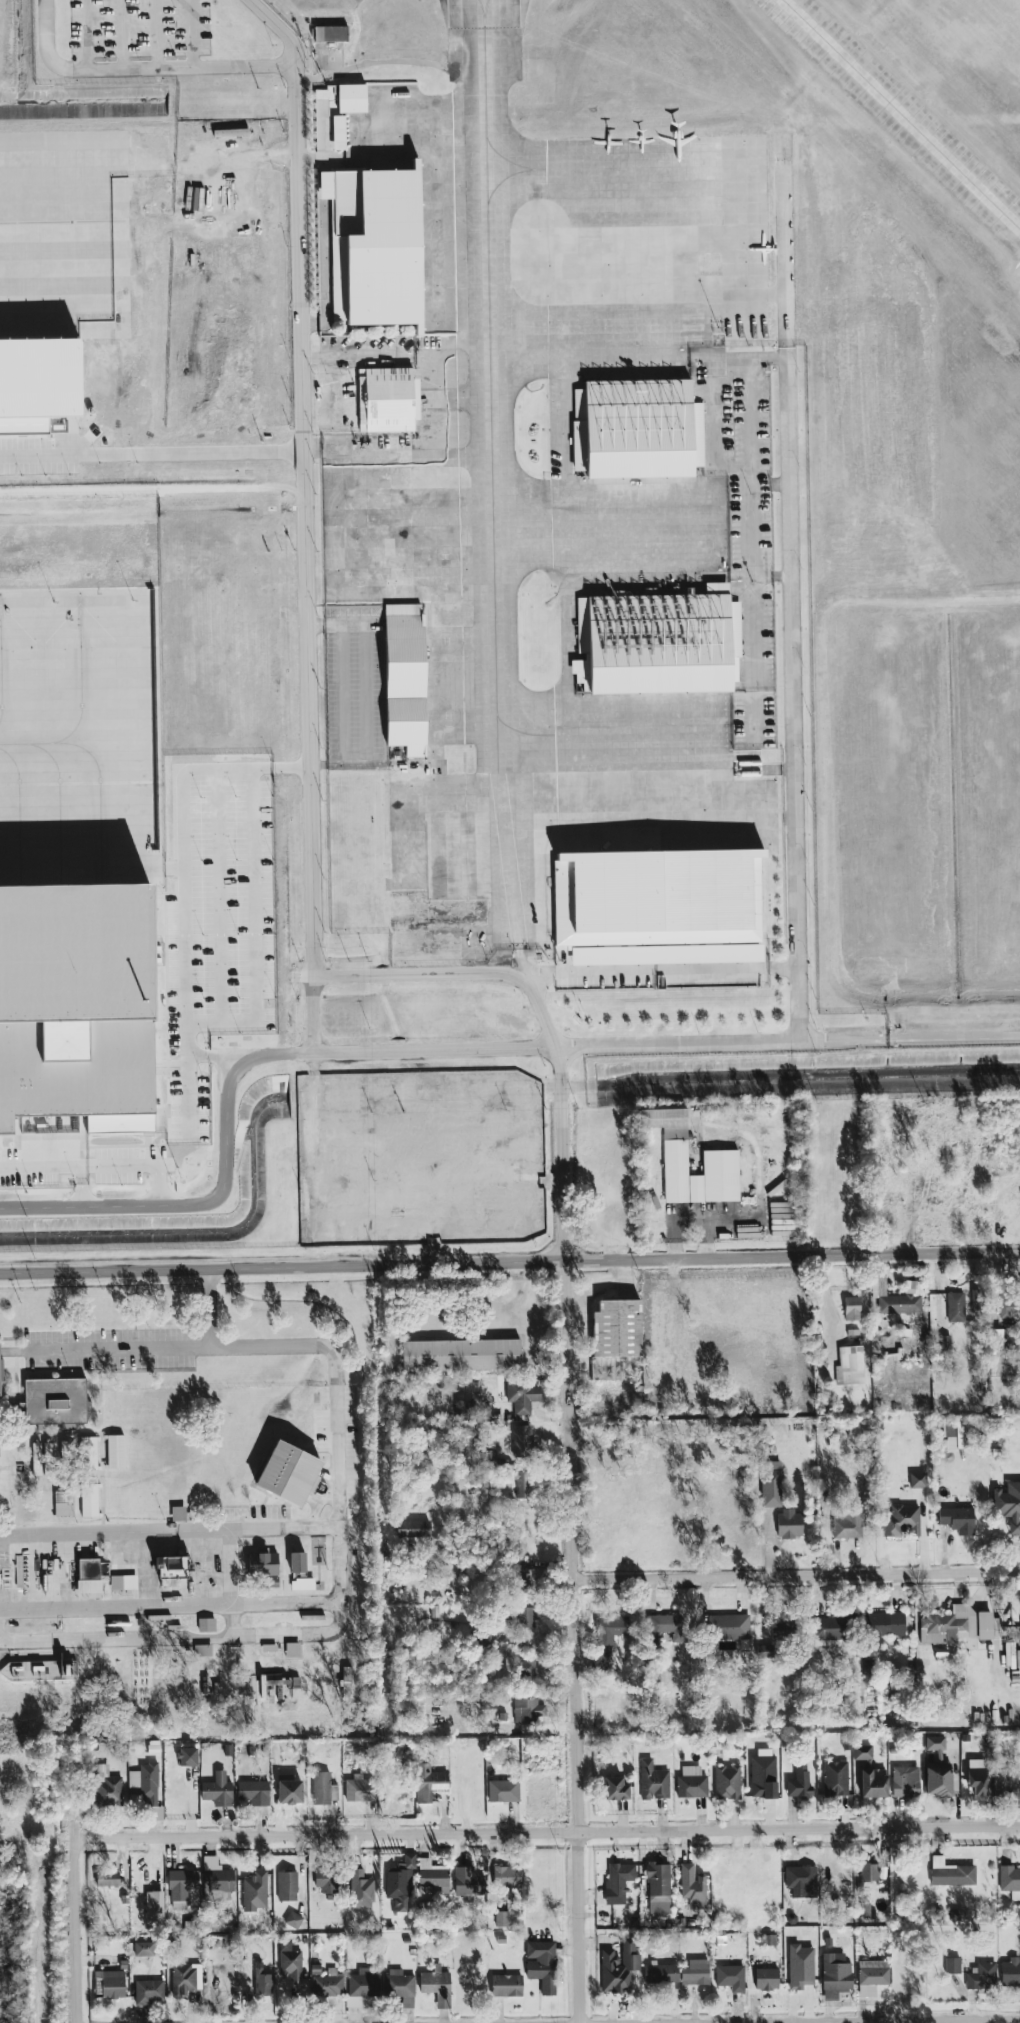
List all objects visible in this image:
airport apron: (326, 5)
airport taxiway: (482, 8)
parking lot: (139, 29)
road: (83, 34)
building: (328, 35)
road: (45, 48)
road: (405, 59)
road: (190, 67)
road: (309, 82)
building: (349, 101)
airport taxiway: (901, 115)
building: (229, 132)
building: (338, 135)
road: (149, 162)
airport taxiway: (518, 172)
airport apron: (638, 181)
airport apron: (40, 235)
road: (785, 243)
building: (375, 245)
airport apron: (638, 342)
airport taxiway: (519, 345)
road: (358, 355)
airport hangar: (37, 382)
building: (37, 382)
building: (386, 402)
building: (641, 431)
road: (287, 445)
road: (134, 455)
road: (288, 456)
parking lot: (7, 468)
road: (753, 468)
airport apron: (417, 474)
airport taxiway: (495, 478)
road: (309, 479)
airport apron: (640, 527)
airport taxiway: (523, 532)
airport: (491, 564)
building: (659, 645)
road: (754, 651)
building: (406, 681)
road: (792, 693)
airport apron: (76, 728)
airport taxiway: (527, 738)
road: (413, 766)
road: (352, 768)
airport apron: (656, 829)
road: (180, 867)
building: (655, 891)
road: (648, 968)
parking lot: (710, 972)
road: (405, 974)
road: (536, 999)
building: (77, 1004)
road: (312, 1013)
road: (953, 1037)
road: (383, 1049)
building: (341, 1092)
road: (316, 1121)
road: (562, 1152)
building: (720, 1162)
road: (56, 1167)
road: (509, 1261)
building: (879, 1285)
building: (902, 1301)
building: (1006, 1304)
building: (955, 1307)
building: (852, 1308)
road: (218, 1310)
building: (616, 1329)
building: (1003, 1341)
building: (461, 1355)
building: (849, 1365)
building: (521, 1397)
building: (55, 1401)
building: (464, 1409)
building: (958, 1435)
road: (341, 1442)
building: (522, 1442)
building: (65, 1450)
building: (115, 1451)
building: (88, 1453)
building: (48, 1456)
building: (488, 1457)
building: (36, 1459)
building: (289, 1473)
building: (917, 1480)
building: (521, 1483)
building: (771, 1484)
building: (89, 1500)
building: (64, 1502)
building: (1009, 1505)
building: (178, 1514)
building: (902, 1520)
building: (957, 1520)
building: (789, 1524)
building: (847, 1524)
building: (413, 1529)
building: (297, 1562)
building: (172, 1566)
road: (231, 1566)
building: (264, 1567)
building: (88, 1569)
building: (103, 1570)
road: (797, 1574)
building: (522, 1578)
building: (123, 1582)
building: (302, 1584)
road: (322, 1601)
road: (116, 1606)
building: (526, 1617)
building: (206, 1625)
building: (665, 1625)
building: (956, 1625)
building: (884, 1626)
building: (728, 1627)
building: (828, 1628)
building: (782, 1632)
road: (132, 1637)
road: (576, 1641)
building: (203, 1650)
building: (292, 1650)
building: (523, 1667)
building: (39, 1671)
building: (868, 1672)
building: (253, 1689)
building: (529, 1710)
building: (503, 1719)
building: (935, 1742)
building: (862, 1752)
building: (187, 1757)
building: (763, 1774)
building: (835, 1778)
building: (977, 1778)
building: (145, 1779)
building: (653, 1781)
building: (905, 1781)
building: (939, 1781)
building: (429, 1782)
building: (727, 1782)
building: (799, 1782)
building: (691, 1783)
building: (1000, 1783)
building: (873, 1784)
building: (107, 1788)
building: (324, 1789)
building: (615, 1789)
building: (360, 1790)
building: (217, 1791)
building: (503, 1791)
building: (289, 1792)
building: (254, 1793)
building: (155, 1814)
road: (548, 1832)
building: (864, 1872)
building: (951, 1873)
building: (216, 1874)
building: (431, 1875)
building: (107, 1877)
building: (507, 1877)
building: (326, 1878)
road: (78, 1881)
building: (468, 1881)
building: (801, 1881)
building: (1010, 1881)
building: (400, 1883)
building: (616, 1884)
building: (181, 1887)
building: (287, 1887)
building: (692, 1887)
building: (658, 1889)
building: (361, 1890)
building: (255, 1892)
building: (154, 1907)
building: (502, 1919)
building: (293, 1920)
building: (144, 1949)
building: (289, 1960)
building: (619, 1965)
building: (951, 1965)
building: (541, 1966)
building: (800, 1966)
building: (1010, 1972)
building: (695, 1973)
building: (661, 1974)
building: (835, 1976)
building: (871, 1977)
building: (982, 1977)
building: (730, 1978)
building: (185, 1979)
building: (766, 1979)
building: (262, 1982)
building: (326, 1983)
building: (400, 1983)
building: (111, 1984)
building: (506, 1986)
building: (361, 1987)
building: (438, 1987)
building: (148, 1992)
road: (927, 2021)

